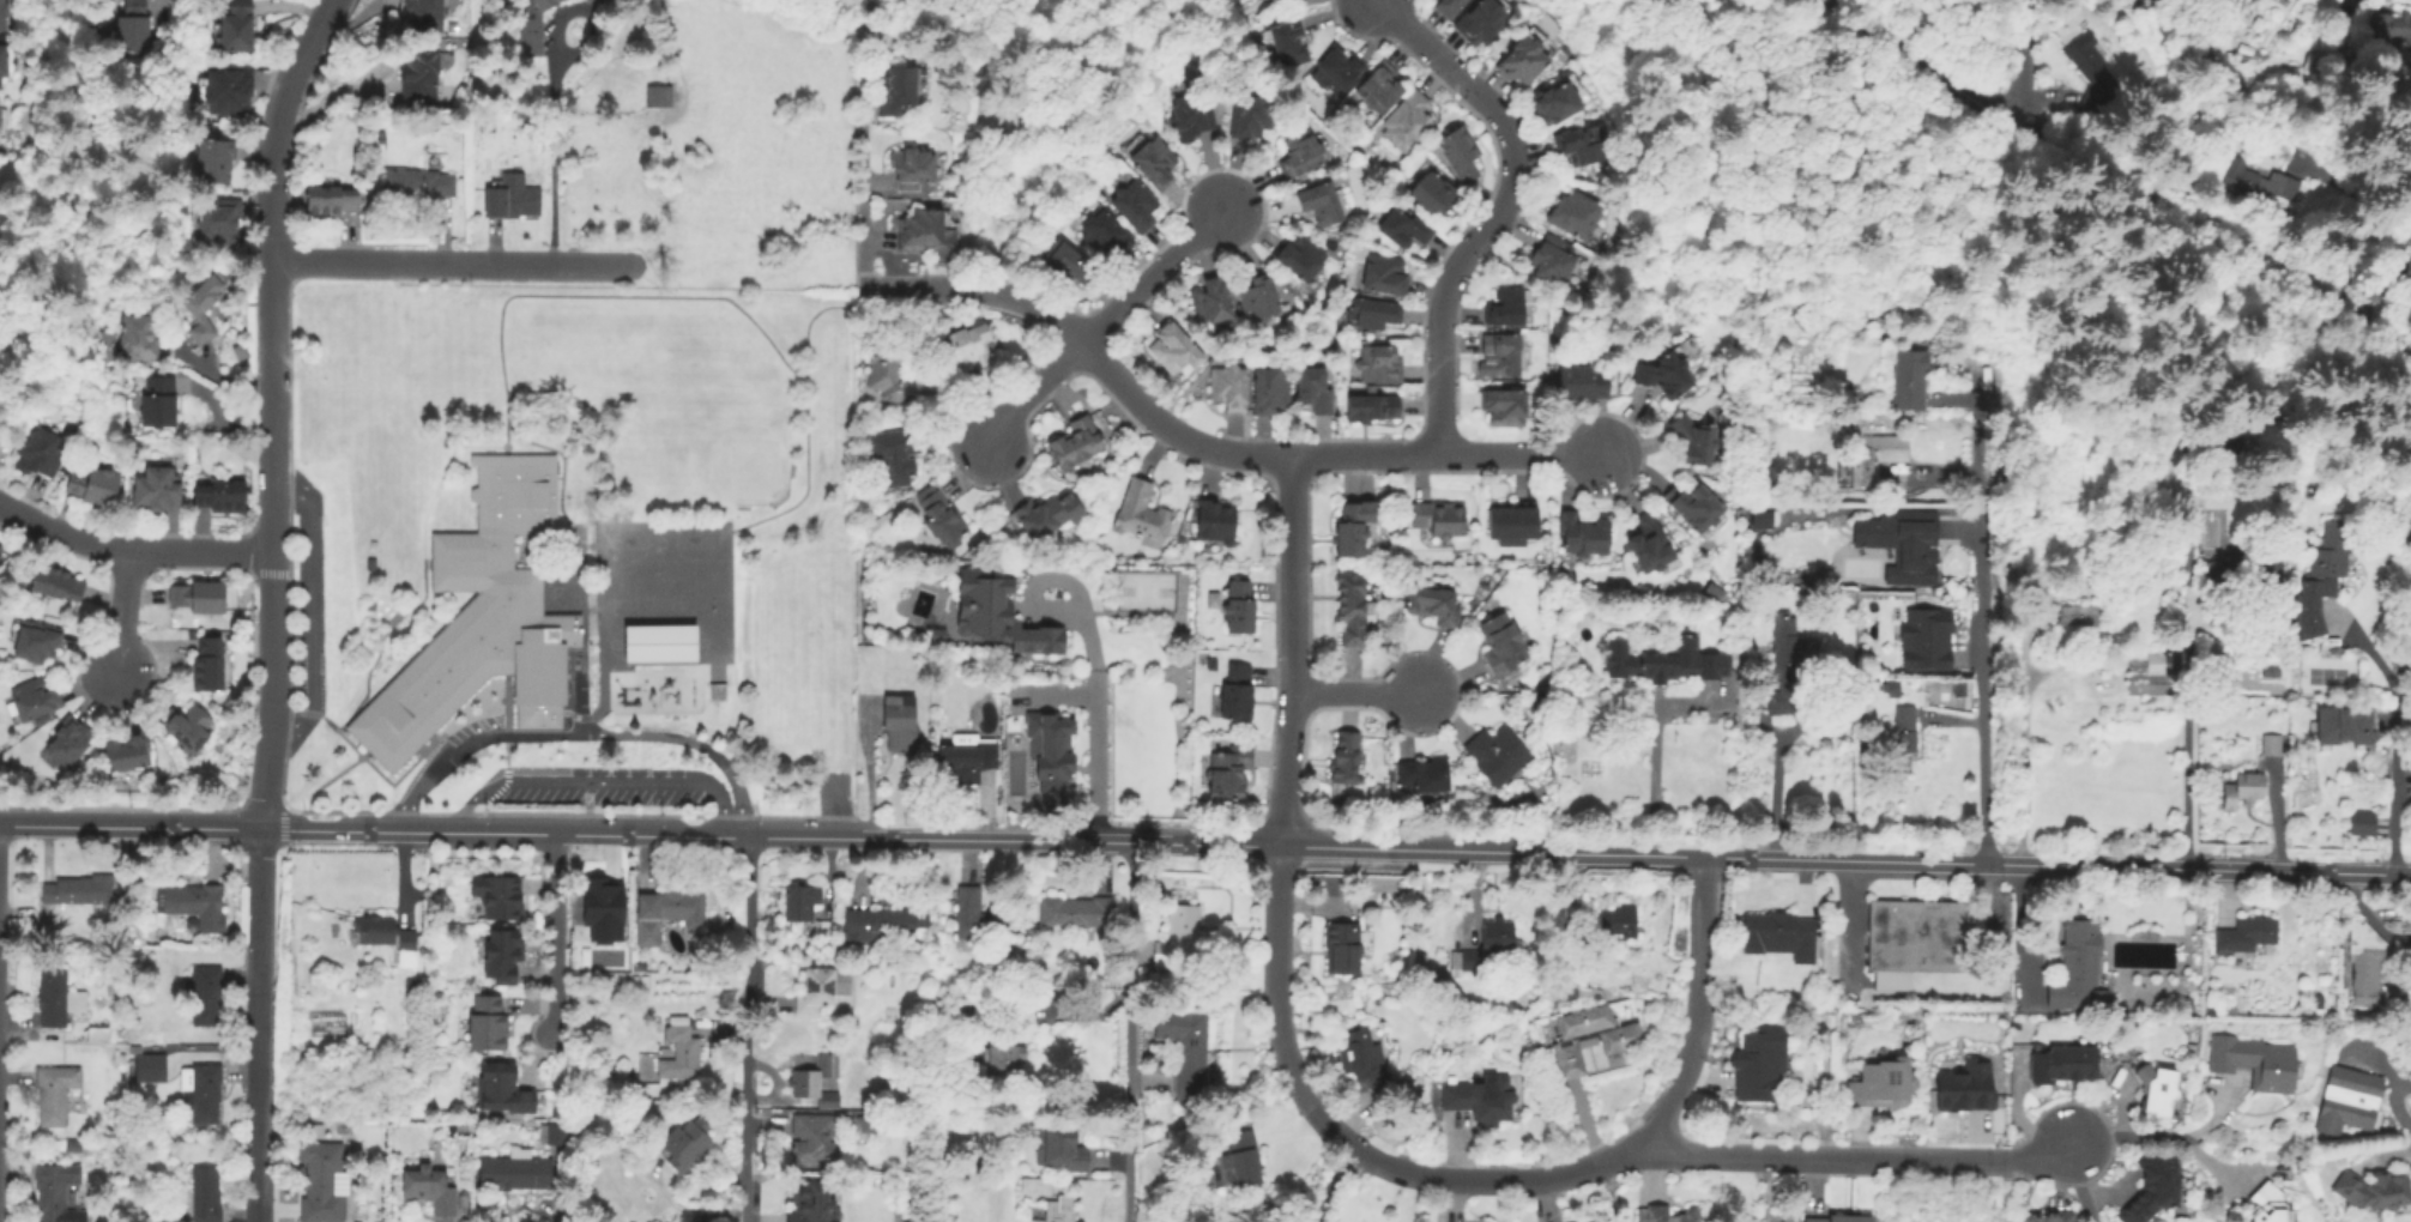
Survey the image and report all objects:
building: (587, 0)
building: (1297, 0)
building: (1448, 6)
building: (5, 13)
building: (430, 14)
building: (1480, 20)
building: (139, 25)
building: (527, 25)
building: (234, 26)
building: (2397, 26)
building: (1282, 40)
building: (1518, 56)
building: (5, 62)
road: (2024, 65)
building: (1336, 71)
building: (424, 72)
building: (2093, 75)
building: (893, 86)
building: (1379, 86)
building: (229, 92)
building: (658, 98)
building: (1551, 101)
building: (1183, 110)
building: (1245, 114)
building: (1, 117)
building: (1408, 120)
building: (1578, 141)
road: (555, 146)
building: (1460, 151)
building: (1300, 152)
building: (222, 158)
building: (1148, 158)
building: (911, 167)
building: (2256, 182)
building: (423, 184)
road: (2117, 186)
building: (1434, 192)
building: (336, 199)
building: (509, 199)
road: (864, 202)
building: (1129, 202)
building: (1319, 202)
road: (1500, 207)
building: (1572, 212)
building: (223, 223)
building: (1404, 226)
building: (920, 229)
building: (1100, 231)
building: (1301, 256)
building: (1548, 258)
building: (1063, 261)
road: (449, 264)
building: (2409, 268)
building: (1384, 273)
road: (1153, 278)
road: (647, 280)
building: (1258, 295)
road: (542, 296)
building: (1210, 297)
building: (1505, 304)
building: (201, 311)
building: (1374, 311)
road: (1053, 319)
building: (144, 334)
building: (1172, 347)
building: (962, 349)
building: (1503, 351)
building: (1376, 363)
building: (1662, 373)
building: (888, 376)
building: (1910, 377)
building: (1581, 382)
building: (1229, 386)
building: (1269, 388)
building: (1313, 388)
road: (1032, 392)
building: (163, 401)
building: (1504, 405)
building: (1372, 406)
road: (268, 407)
road: (808, 415)
road: (597, 419)
building: (1693, 437)
road: (507, 440)
building: (1076, 441)
park: (723, 442)
building: (2220, 447)
building: (43, 452)
building: (895, 453)
building: (1877, 455)
road: (1523, 456)
road: (1321, 458)
building: (97, 485)
building: (161, 488)
building: (224, 495)
building: (2406, 500)
building: (1693, 506)
building: (1141, 512)
building: (1050, 514)
building: (1439, 516)
building: (938, 518)
building: (1510, 518)
building: (1214, 520)
building: (1762, 520)
building: (1352, 527)
building: (2407, 528)
building: (1582, 532)
building: (1649, 543)
building: (1903, 544)
building: (1, 550)
road: (129, 556)
building: (2326, 558)
building: (2243, 568)
building: (60, 583)
park: (1147, 593)
building: (203, 597)
building: (1214, 603)
building: (1432, 603)
road: (1982, 605)
building: (1350, 606)
building: (1368, 607)
building: (1239, 610)
road: (121, 615)
road: (310, 615)
building: (2075, 615)
building: (997, 616)
road: (540, 617)
building: (479, 621)
building: (937, 637)
road: (585, 641)
building: (1926, 641)
road: (381, 642)
building: (1500, 643)
building: (40, 645)
building: (655, 647)
park: (655, 647)
road: (2404, 651)
road: (1291, 652)
building: (1663, 661)
building: (1785, 663)
building: (1210, 664)
building: (212, 665)
road: (695, 666)
building: (2272, 672)
building: (2151, 673)
park: (2325, 674)
building: (1892, 686)
building: (1956, 688)
road: (2185, 689)
building: (1235, 690)
road: (1360, 692)
road: (574, 695)
building: (37, 698)
road: (316, 715)
road: (586, 718)
road: (1090, 718)
building: (898, 721)
building: (2340, 721)
building: (189, 726)
road: (581, 734)
building: (1907, 738)
road: (2022, 738)
building: (71, 742)
building: (2271, 743)
building: (1050, 746)
building: (132, 752)
building: (1497, 752)
road: (1650, 755)
building: (966, 756)
building: (1345, 756)
road: (2394, 770)
building: (1225, 773)
building: (1425, 773)
road: (507, 775)
road: (388, 782)
road: (600, 782)
road: (324, 785)
building: (2248, 787)
road: (1773, 791)
road: (284, 821)
building: (2361, 822)
road: (429, 830)
road: (1634, 853)
building: (78, 889)
building: (497, 899)
building: (798, 902)
building: (197, 907)
building: (600, 909)
building: (1075, 912)
building: (666, 913)
road: (1850, 916)
building: (975, 918)
building: (1618, 921)
building: (881, 922)
building: (1777, 930)
building: (382, 932)
building: (1577, 932)
road: (551, 933)
building: (2244, 934)
building: (1497, 937)
building: (1178, 939)
building: (1916, 939)
building: (1341, 946)
building: (500, 960)
building: (1469, 960)
building: (2364, 963)
building: (2074, 964)
building: (814, 992)
building: (203, 993)
building: (2097, 996)
building: (56, 999)
building: (2316, 1002)
building: (2186, 1005)
building: (2211, 1011)
road: (254, 1024)
building: (1820, 1028)
road: (744, 1029)
building: (485, 1030)
road: (1126, 1032)
building: (96, 1034)
building: (1621, 1043)
building: (679, 1054)
building: (1360, 1054)
building: (1190, 1055)
building: (1001, 1058)
building: (2253, 1061)
building: (1757, 1065)
building: (2061, 1065)
building: (150, 1069)
building: (814, 1082)
building: (2155, 1087)
building: (1878, 1088)
building: (1970, 1088)
building: (203, 1091)
building: (54, 1094)
building: (501, 1095)
building: (1480, 1099)
building: (2347, 1100)
road: (2400, 1111)
building: (666, 1125)
building: (863, 1125)
building: (461, 1127)
building: (552, 1135)
road: (2158, 1135)
building: (811, 1141)
building: (683, 1144)
building: (1062, 1149)
building: (1240, 1159)
road: (1817, 1160)
road: (2041, 1163)
building: (515, 1172)
road: (1329, 1181)
road: (2078, 1181)
road: (1484, 1182)
building: (2152, 1188)
building: (319, 1190)
building: (429, 1190)
building: (2374, 1191)
building: (53, 1192)
building: (203, 1197)
building: (811, 1203)
building: (2267, 1205)
building: (1055, 1214)
building: (1667, 1215)
building: (2049, 1217)
building: (1839, 1218)
building: (905, 1221)

